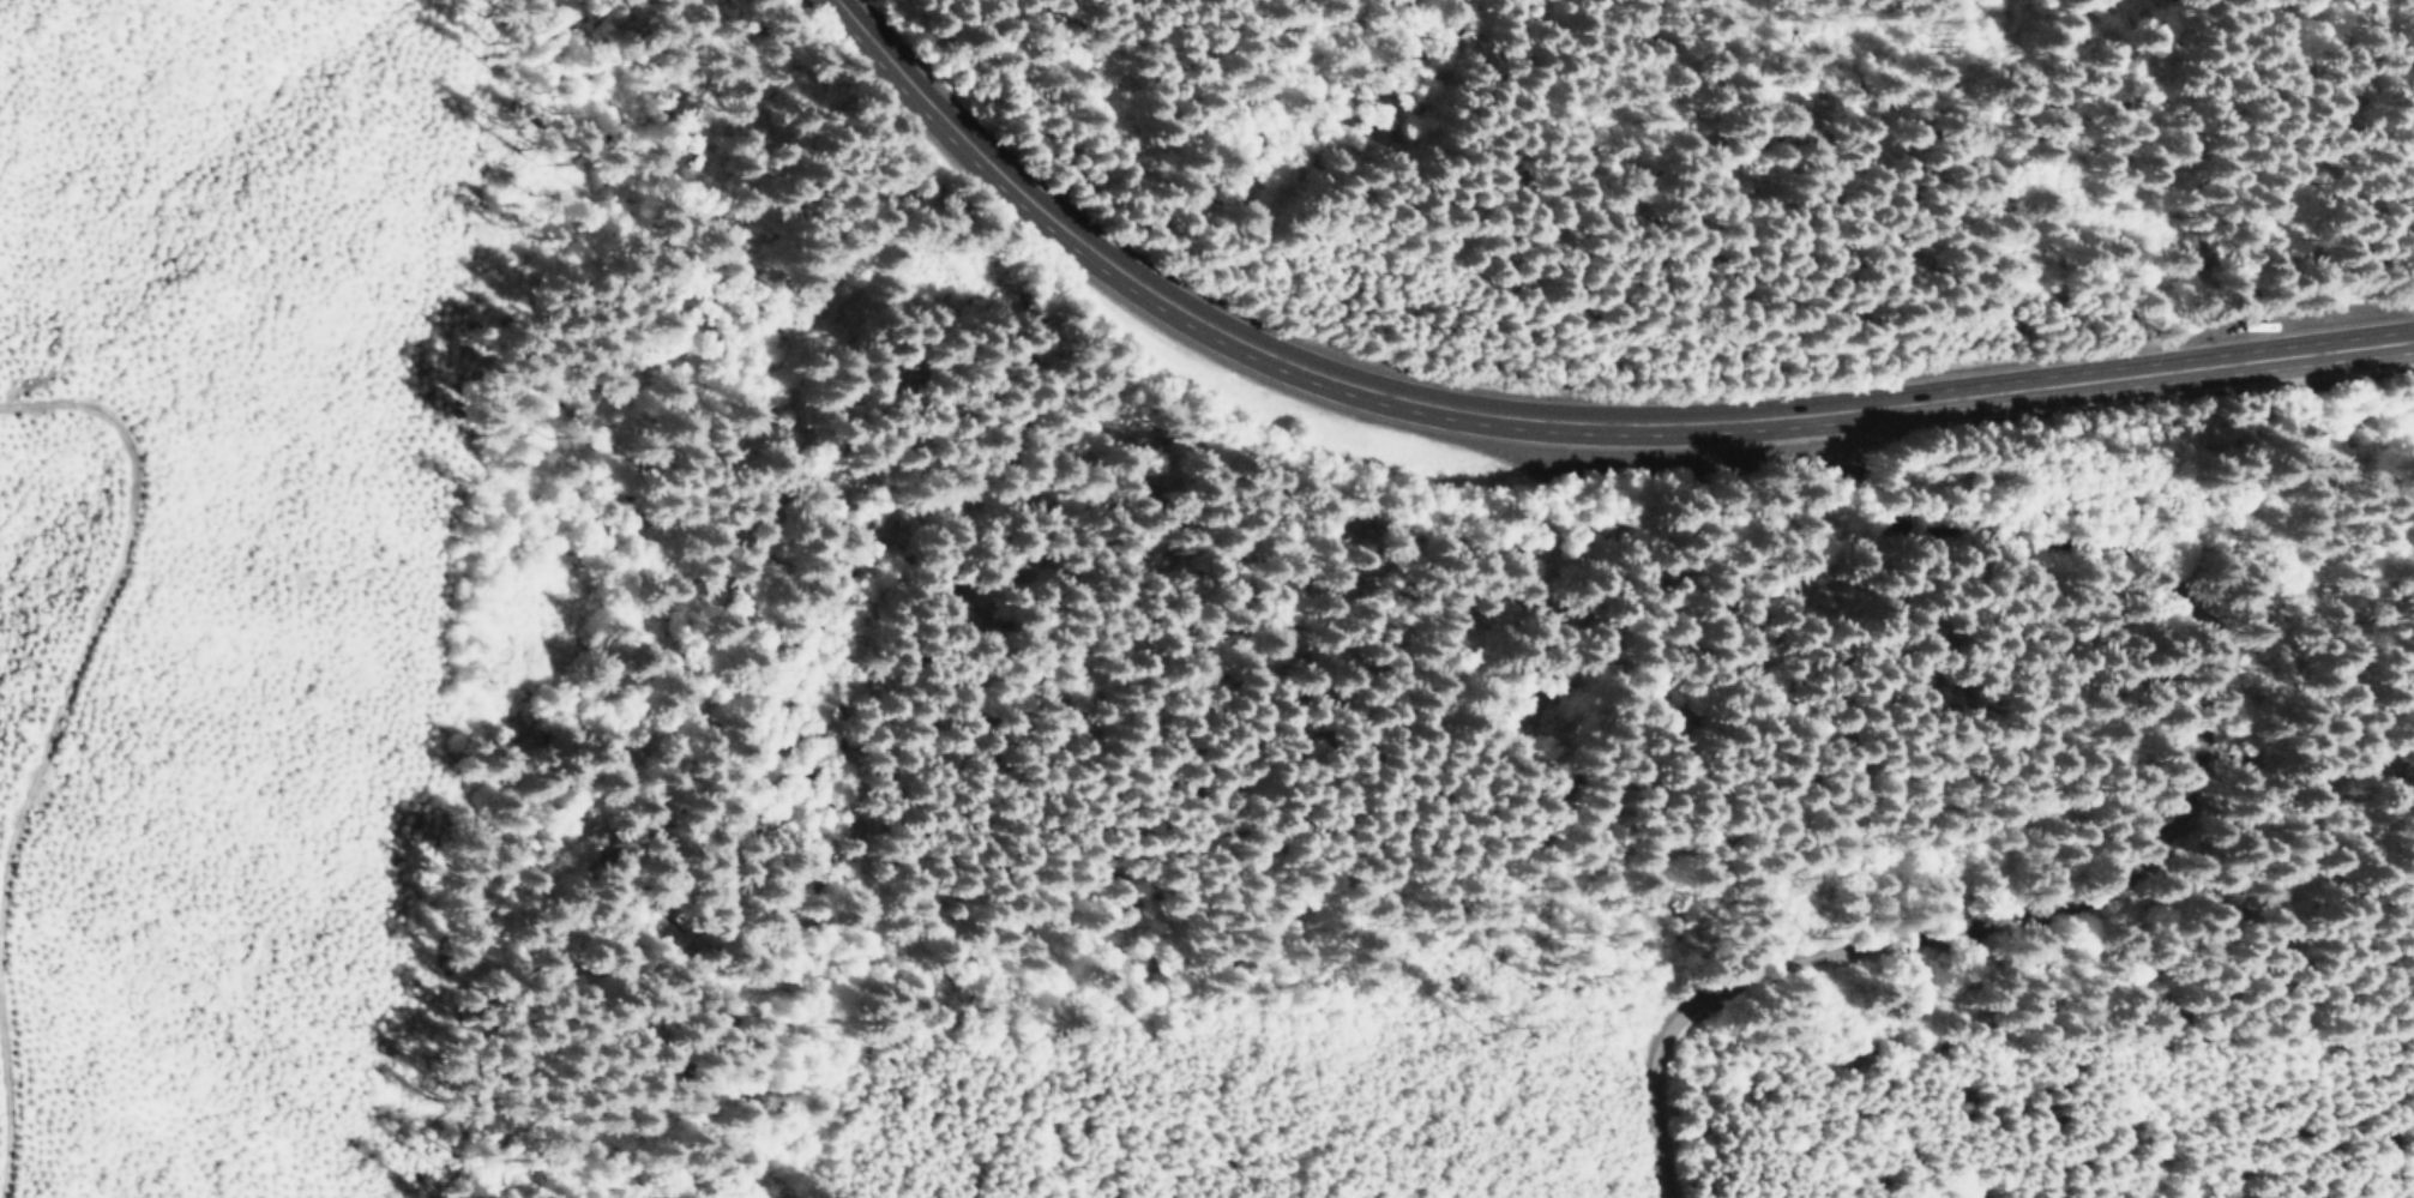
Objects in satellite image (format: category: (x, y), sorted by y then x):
road: (1558, 416)
road: (2142, 837)

